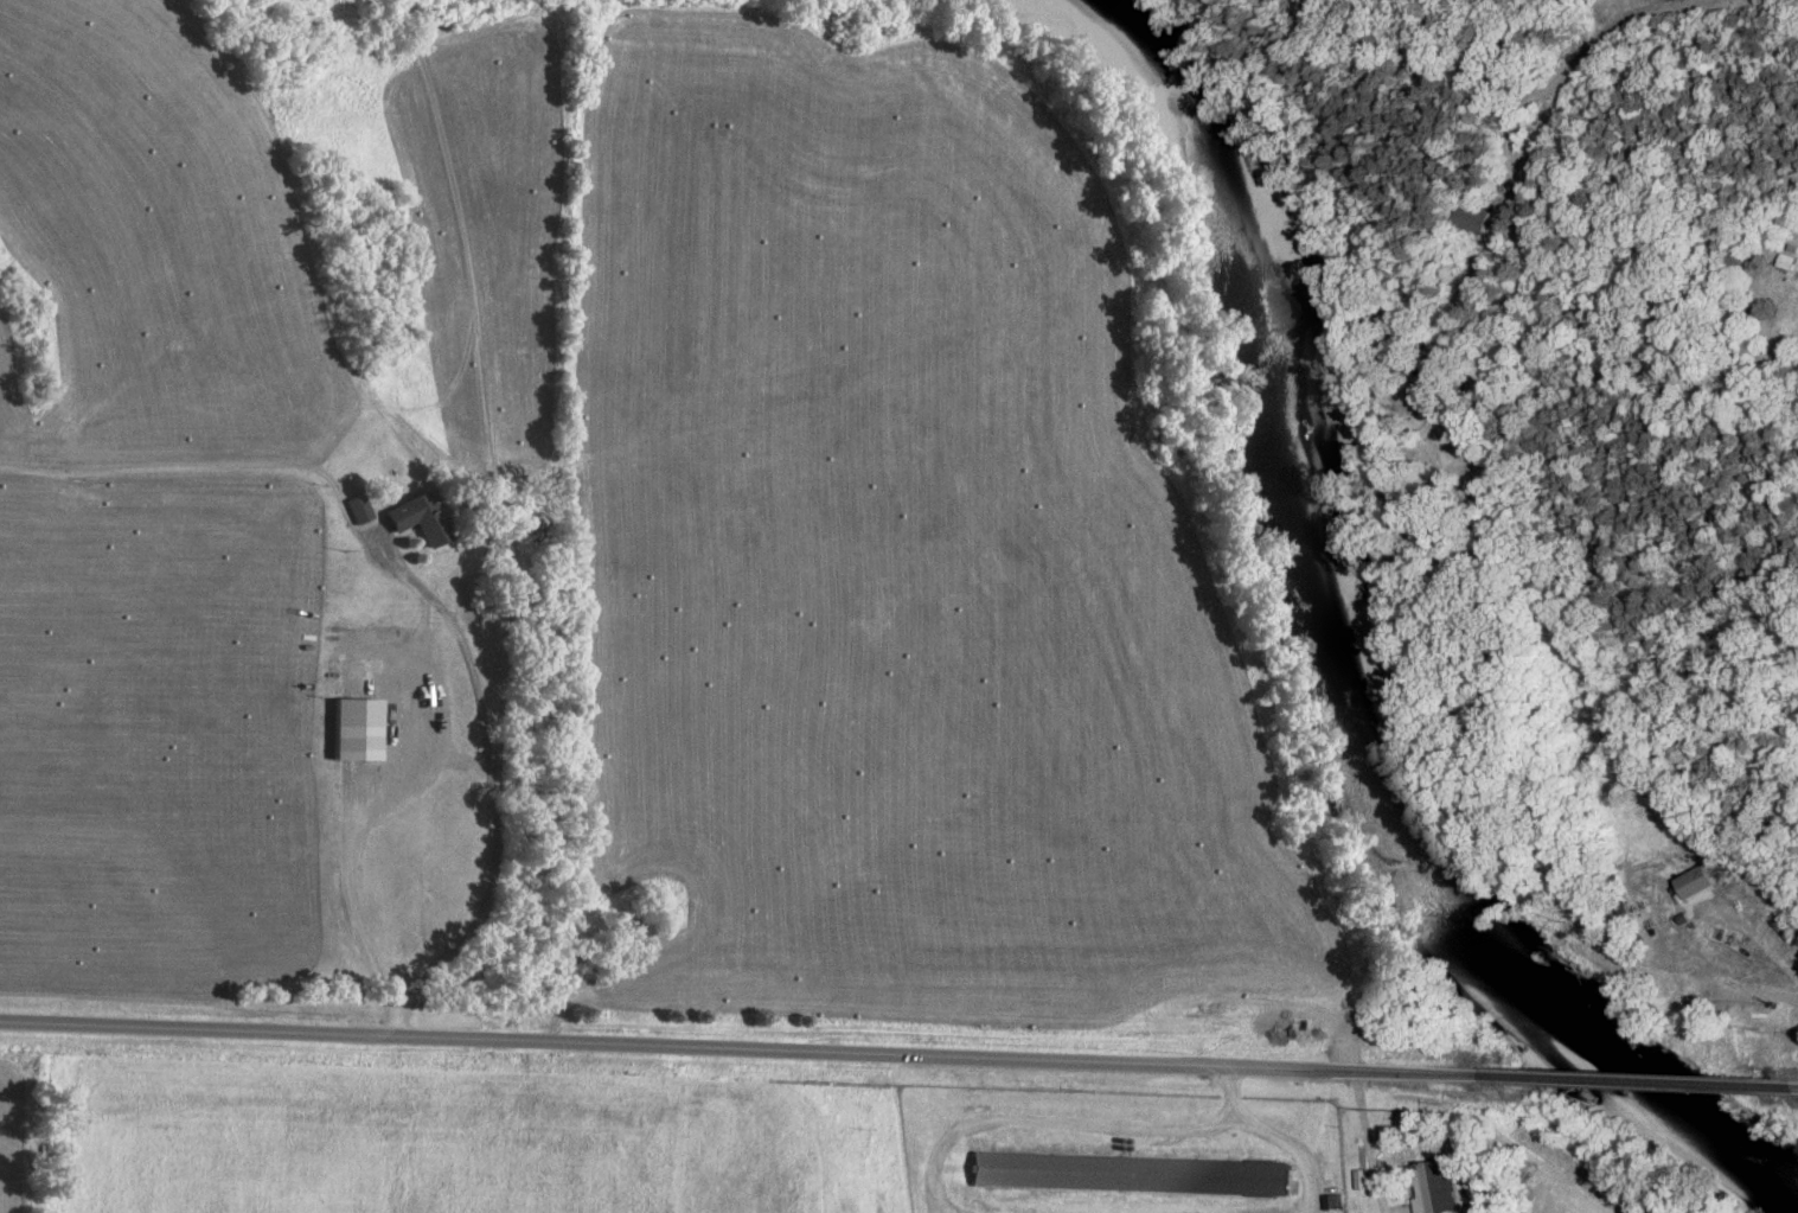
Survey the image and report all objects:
road: (1793, 2)
building: (1472, 217)
building: (357, 509)
building: (409, 521)
river: (1368, 632)
building: (353, 729)
road: (488, 781)
road: (364, 831)
building: (1689, 882)
road: (743, 1048)
road: (1643, 1081)
road: (1274, 1135)
building: (1128, 1174)
building: (1331, 1201)
road: (1400, 1211)

